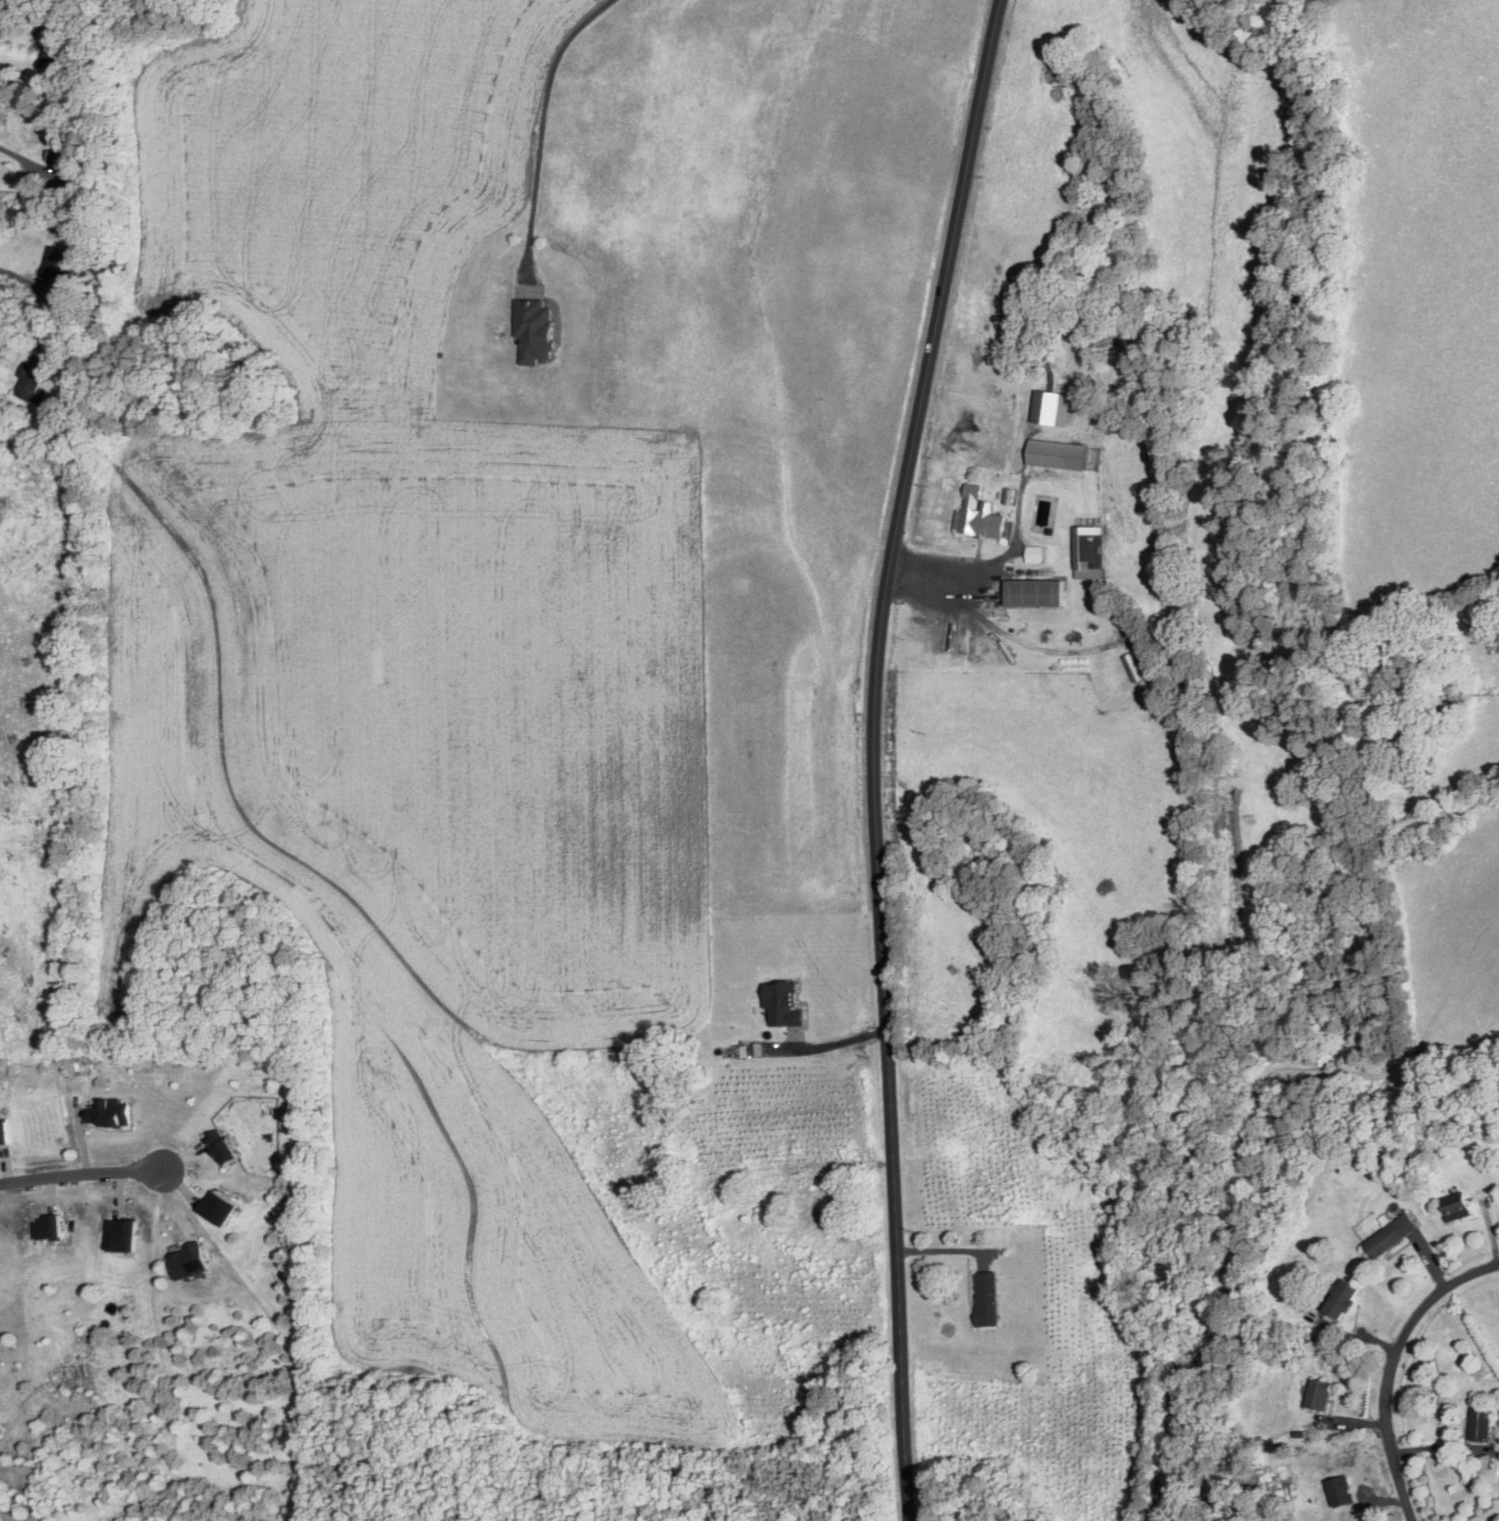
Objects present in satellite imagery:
building: (55, 46)
road: (547, 124)
building: (63, 152)
building: (54, 265)
building: (502, 287)
building: (535, 330)
road: (16, 338)
building: (443, 353)
building: (34, 378)
building: (1047, 407)
building: (1059, 454)
building: (1010, 495)
building: (980, 514)
building: (1090, 551)
building: (1036, 553)
road: (1001, 557)
building: (1036, 593)
road: (1002, 630)
building: (1151, 665)
building: (1134, 667)
road: (876, 755)
building: (784, 1004)
road: (839, 1043)
building: (108, 1112)
building: (3, 1132)
building: (222, 1146)
building: (695, 1150)
building: (742, 1157)
road: (79, 1176)
building: (819, 1199)
building: (1456, 1205)
building: (216, 1206)
building: (47, 1226)
building: (120, 1233)
building: (1393, 1234)
road: (945, 1249)
building: (190, 1259)
building: (988, 1297)
building: (1345, 1297)
road: (1392, 1368)
building: (1321, 1393)
building: (1483, 1422)
road: (1439, 1445)
building: (1493, 1452)
building: (1482, 1463)
building: (1494, 1465)
building: (1468, 1473)
building: (1340, 1490)

